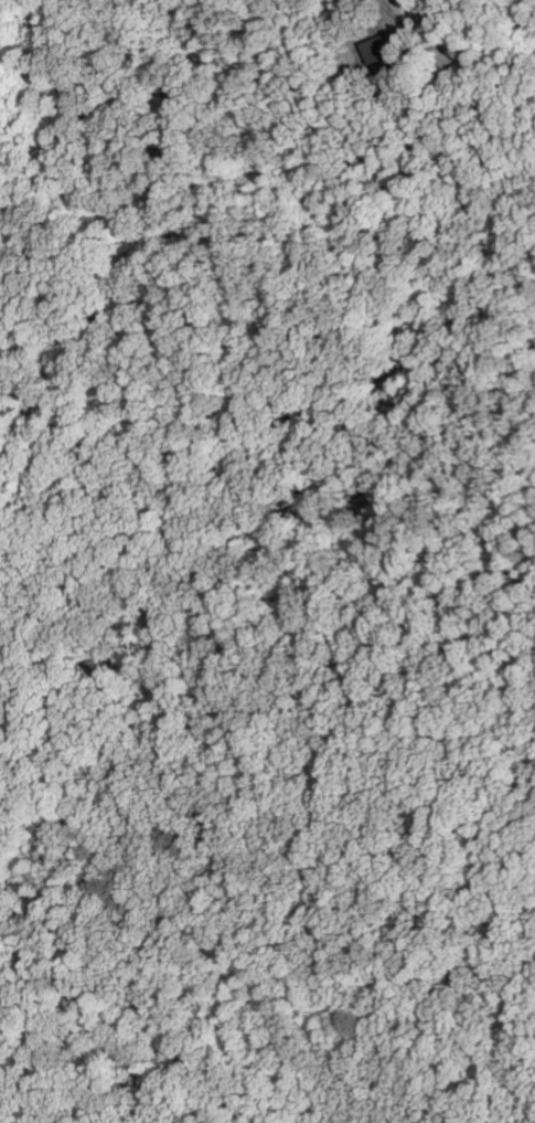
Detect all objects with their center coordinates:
building: (377, 49)
park: (266, 564)

